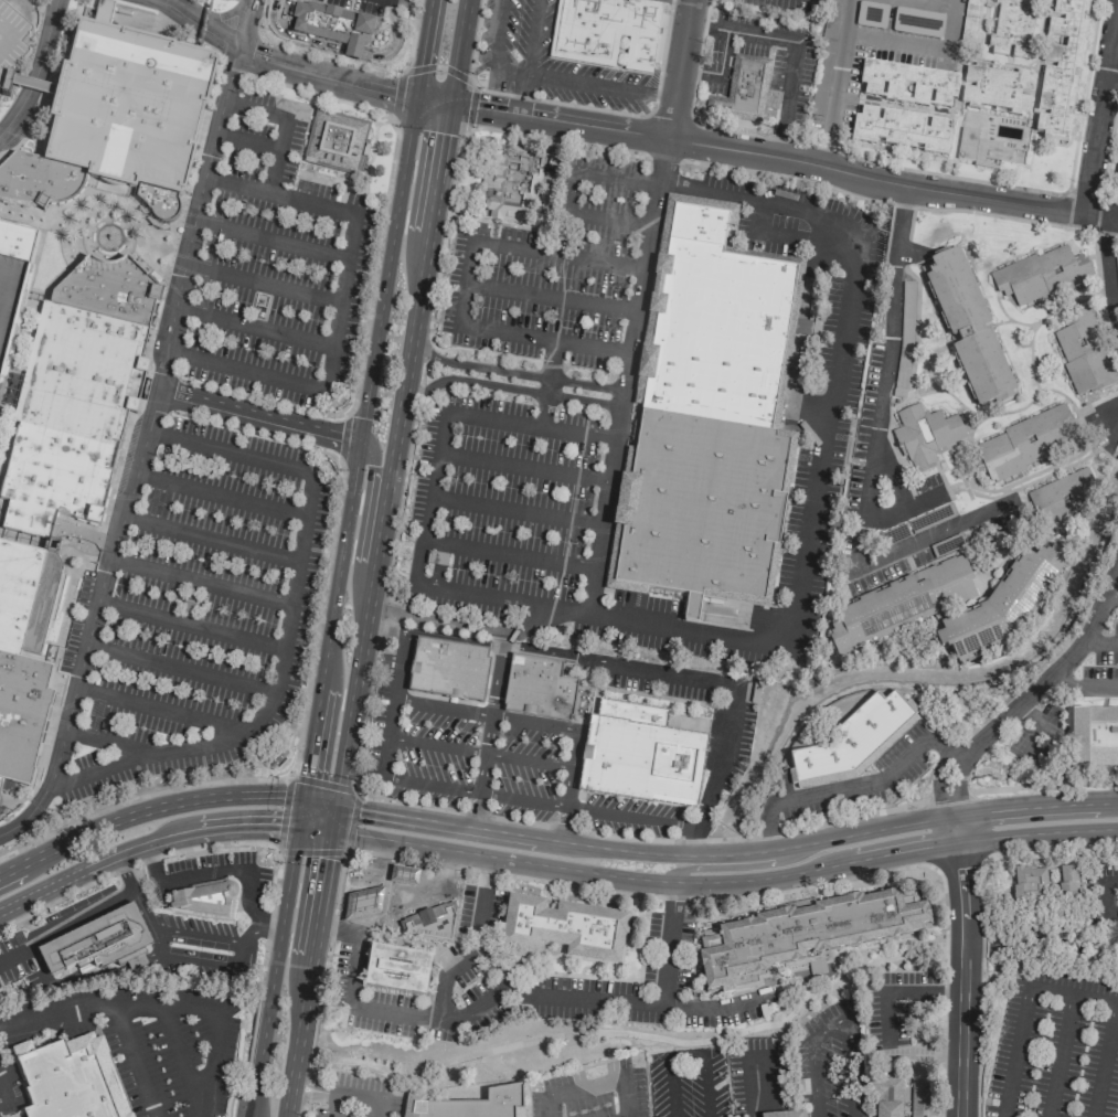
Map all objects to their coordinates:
road: (936, 2)
road: (20, 9)
building: (833, 13)
building: (871, 15)
building: (970, 20)
building: (917, 22)
road: (201, 23)
building: (607, 26)
building: (333, 29)
building: (1013, 29)
road: (9, 31)
road: (3, 33)
road: (409, 35)
road: (531, 36)
building: (11, 41)
parking garage: (11, 41)
road: (795, 43)
road: (919, 46)
road: (344, 50)
road: (424, 50)
road: (494, 50)
road: (457, 52)
road: (660, 60)
parking lot: (546, 61)
road: (696, 62)
road: (438, 66)
road: (35, 67)
building: (1062, 68)
road: (679, 70)
road: (718, 71)
road: (324, 74)
road: (600, 83)
road: (835, 83)
road: (29, 84)
building: (908, 84)
building: (747, 88)
building: (997, 89)
road: (520, 93)
road: (1082, 95)
road: (515, 96)
traffic signals: (415, 99)
road: (430, 102)
traffic signals: (446, 104)
road: (1099, 105)
road: (252, 109)
road: (669, 121)
road: (29, 127)
building: (901, 130)
road: (245, 141)
building: (332, 145)
building: (982, 151)
road: (274, 153)
road: (663, 157)
road: (782, 157)
road: (879, 163)
building: (1117, 175)
road: (617, 178)
building: (510, 188)
road: (571, 191)
road: (280, 193)
road: (105, 196)
road: (891, 202)
road: (123, 214)
road: (609, 219)
road: (41, 221)
fountain: (109, 236)
road: (270, 238)
road: (158, 246)
road: (558, 255)
road: (894, 266)
road: (1106, 270)
building: (1041, 275)
road: (260, 283)
road: (465, 284)
road: (158, 286)
road: (551, 297)
building: (78, 318)
road: (253, 327)
building: (968, 328)
road: (26, 332)
road: (411, 336)
road: (543, 340)
building: (1083, 352)
road: (513, 373)
road: (625, 375)
road: (547, 383)
road: (326, 384)
road: (507, 387)
road: (257, 417)
building: (704, 418)
road: (528, 423)
parking lot: (536, 423)
road: (1112, 423)
road: (147, 428)
road: (873, 436)
building: (925, 436)
road: (823, 443)
building: (1023, 444)
road: (358, 447)
road: (522, 467)
road: (892, 472)
parking lot: (230, 477)
road: (221, 494)
building: (1062, 497)
road: (429, 500)
road: (368, 502)
road: (908, 509)
road: (3, 510)
road: (515, 510)
road: (211, 539)
road: (54, 546)
road: (509, 550)
road: (200, 582)
road: (321, 596)
road: (1110, 596)
road: (500, 598)
building: (898, 605)
building: (1001, 607)
road: (192, 626)
road: (288, 626)
road: (432, 634)
road: (1101, 637)
road: (373, 653)
road: (182, 668)
building: (448, 668)
road: (1054, 669)
road: (703, 679)
road: (353, 684)
building: (535, 687)
road: (1083, 689)
road: (160, 709)
road: (504, 716)
road: (281, 721)
road: (486, 734)
building: (1094, 738)
road: (104, 741)
building: (853, 742)
road: (479, 751)
building: (640, 754)
road: (954, 756)
parking lot: (491, 767)
road: (286, 781)
road: (1043, 781)
road: (937, 785)
road: (956, 786)
road: (848, 788)
road: (467, 789)
traffic signals: (305, 796)
road: (947, 797)
road: (319, 798)
traffic signals: (334, 801)
road: (565, 804)
road: (1033, 806)
road: (146, 807)
road: (301, 810)
road: (331, 815)
traffic signals: (298, 825)
road: (313, 826)
traffic signals: (329, 828)
road: (1035, 833)
road: (142, 841)
road: (267, 842)
road: (641, 851)
road: (726, 868)
road: (209, 875)
building: (403, 875)
road: (414, 875)
road: (641, 880)
building: (1068, 880)
building: (1029, 883)
road: (362, 885)
road: (390, 886)
road: (631, 894)
road: (1104, 896)
building: (205, 897)
building: (363, 904)
building: (415, 912)
road: (982, 919)
road: (337, 927)
building: (564, 928)
road: (175, 934)
building: (800, 937)
building: (96, 942)
road: (476, 943)
road: (668, 944)
road: (962, 966)
road: (353, 967)
building: (394, 969)
road: (274, 970)
road: (306, 971)
road: (1072, 992)
road: (552, 996)
road: (79, 1007)
road: (833, 1028)
road: (631, 1033)
road: (702, 1045)
parking lot: (171, 1051)
road: (1015, 1051)
road: (1060, 1054)
road: (1105, 1059)
road: (132, 1060)
road: (703, 1066)
building: (73, 1079)
road: (206, 1079)
road: (302, 1084)
road: (669, 1086)
road: (755, 1088)
road: (0, 1091)
road: (301, 1092)
road: (352, 1095)
parking lot: (355, 1096)
building: (887, 1097)
building: (923, 1098)
road: (626, 1102)
road: (332, 1105)
building: (466, 1105)
road: (553, 1106)
building: (784, 1115)

